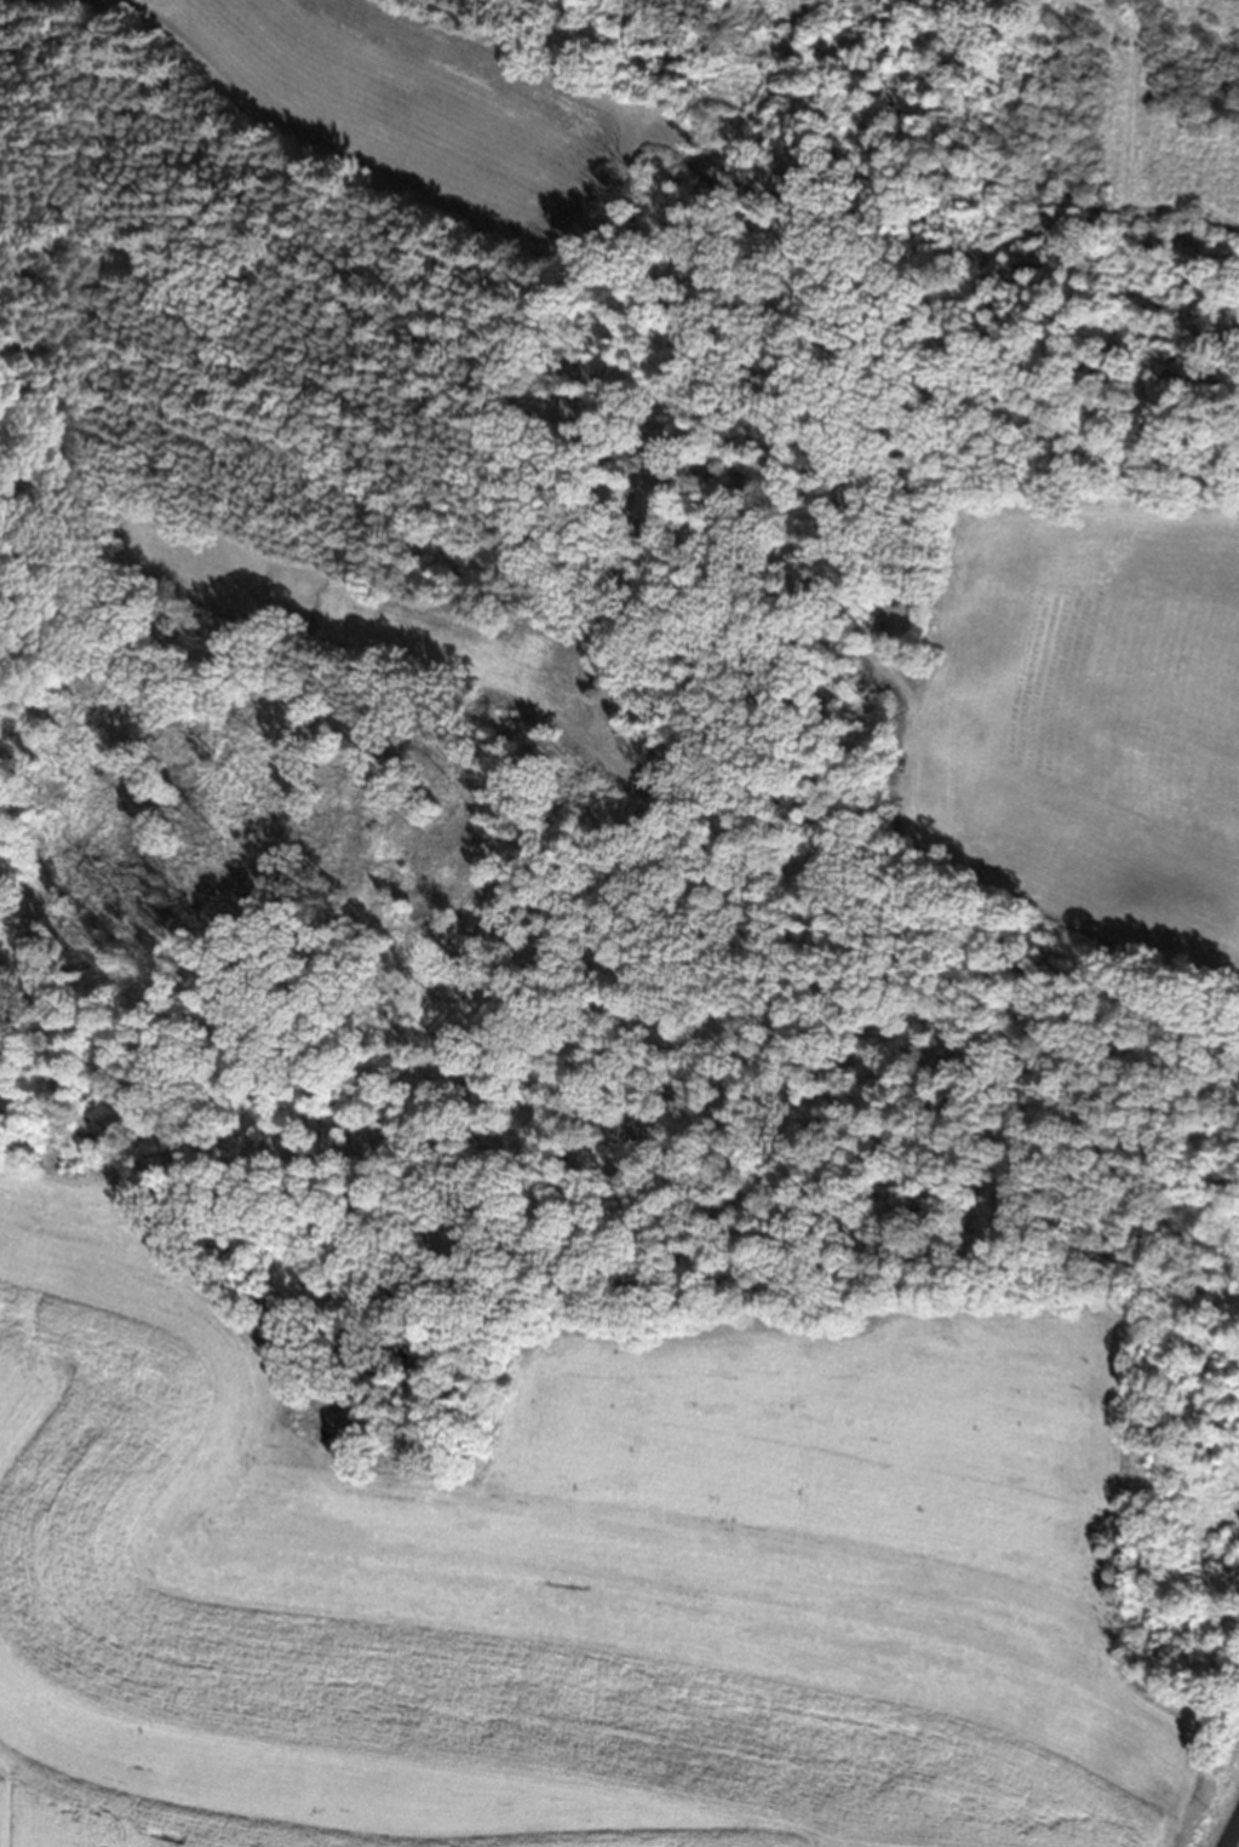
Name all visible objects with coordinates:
road: (1229, 1829)

